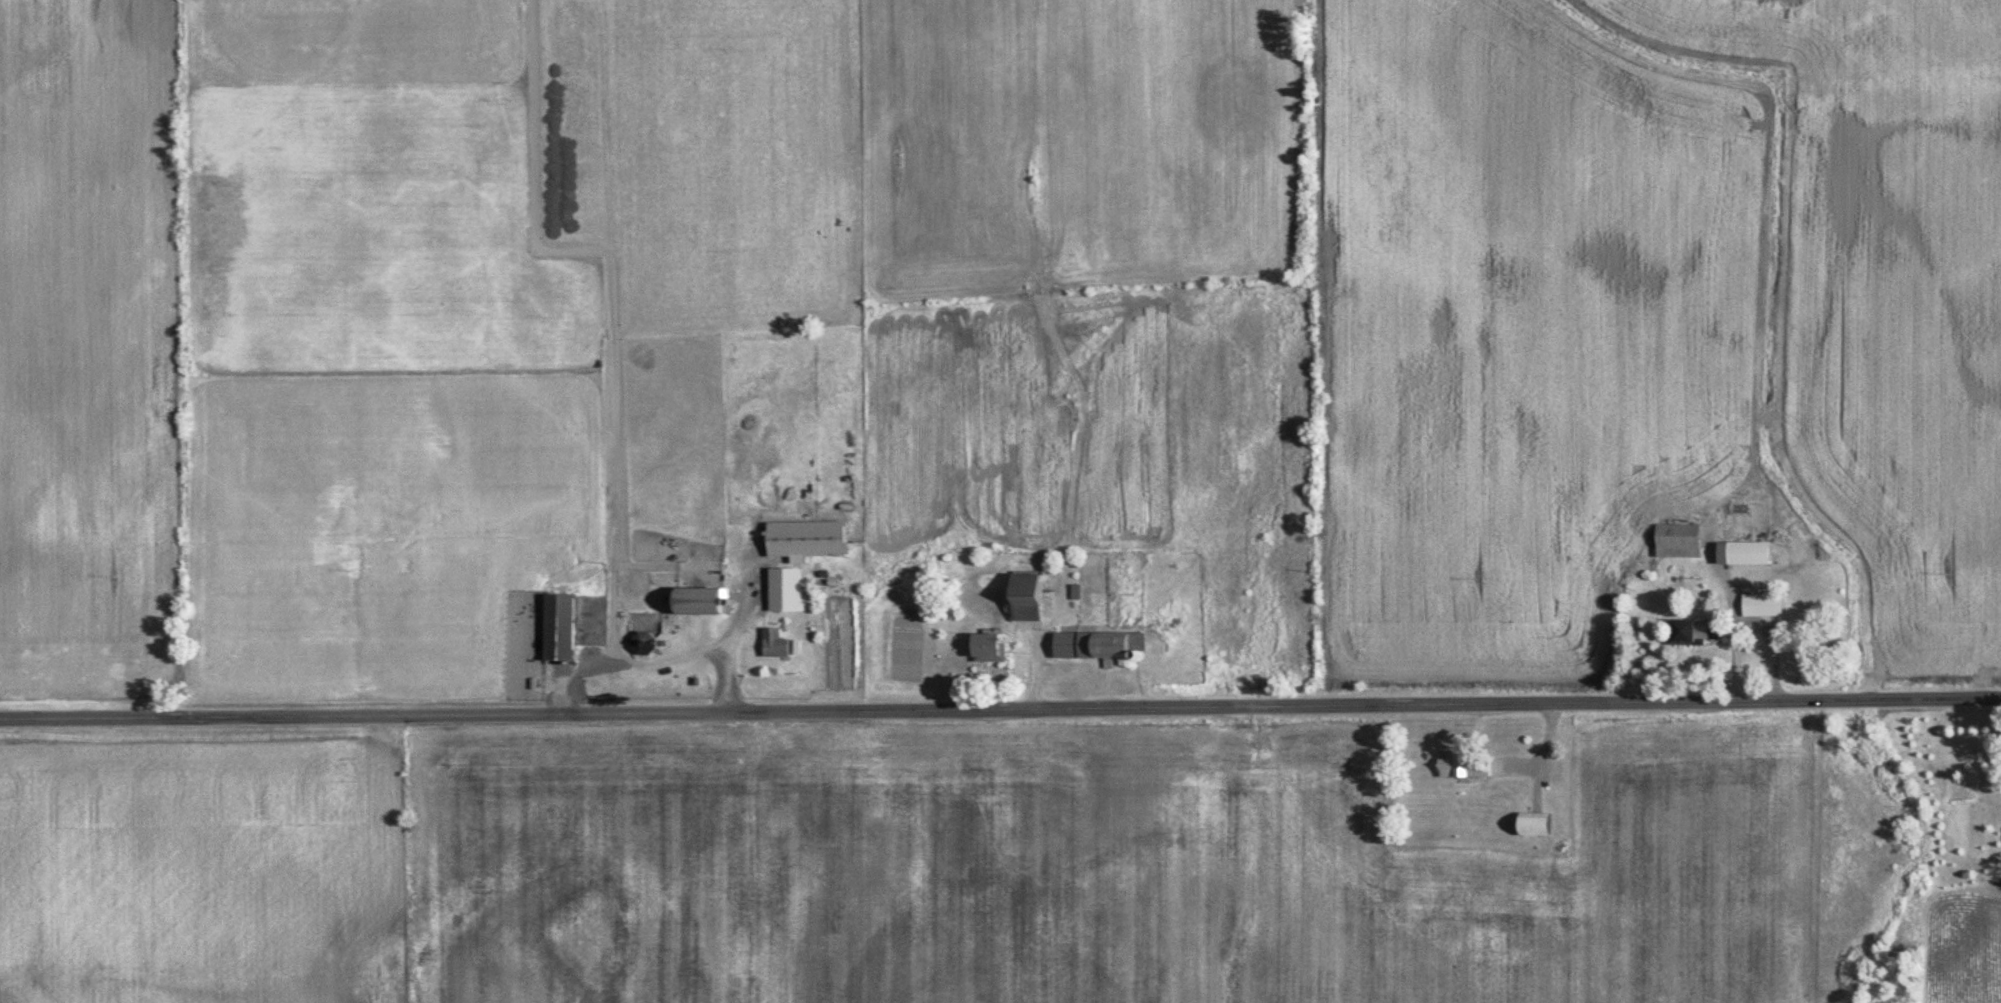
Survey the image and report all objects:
building: (805, 537)
building: (1678, 538)
building: (1743, 551)
building: (784, 587)
building: (1025, 595)
building: (697, 599)
building: (1762, 603)
building: (559, 625)
building: (1694, 630)
building: (644, 641)
building: (775, 641)
building: (1098, 644)
building: (794, 645)
building: (988, 646)
road: (1000, 706)
building: (1459, 765)
building: (1534, 822)

